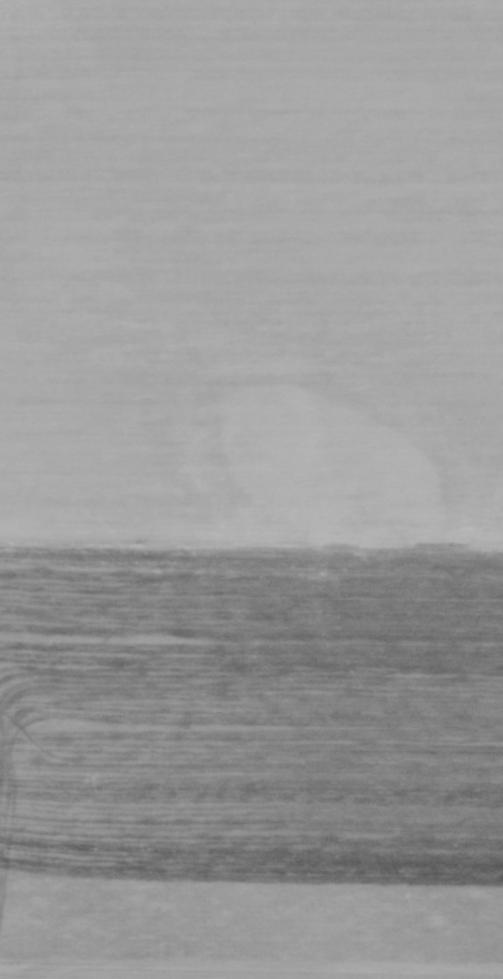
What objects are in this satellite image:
crop: (251, 489)

